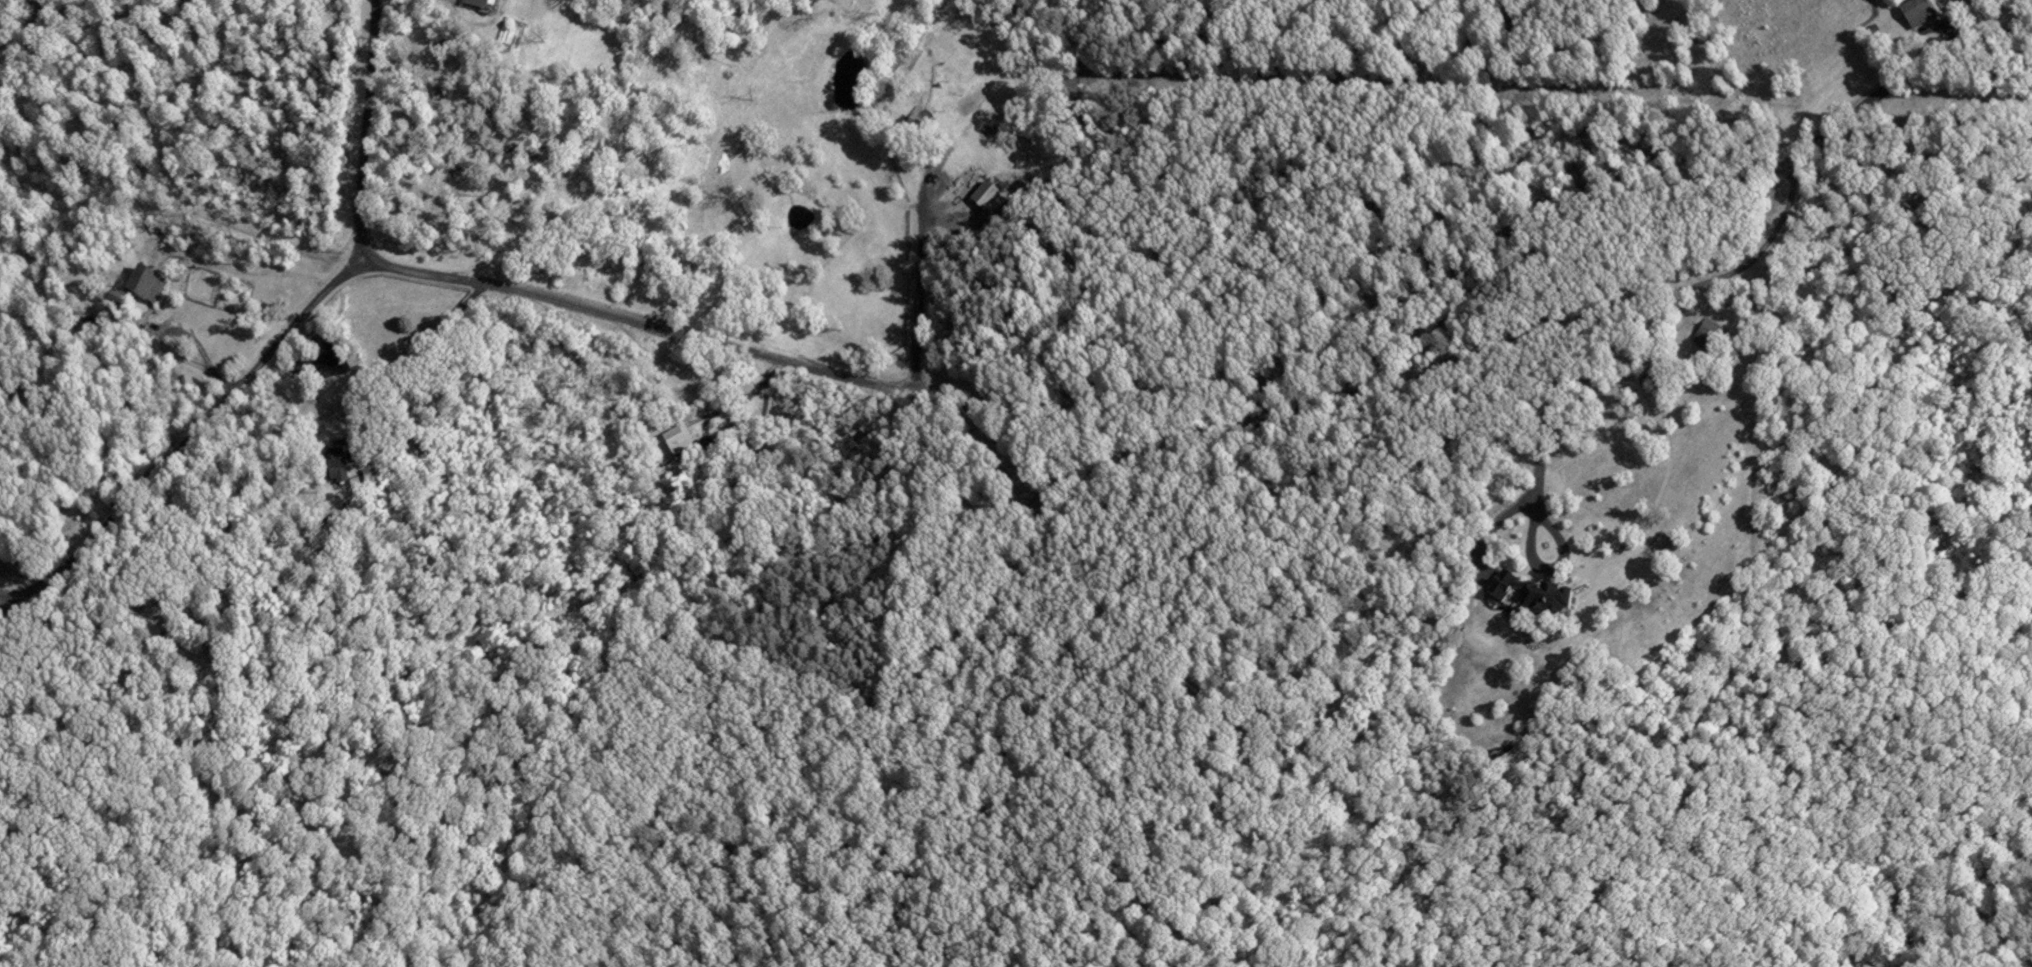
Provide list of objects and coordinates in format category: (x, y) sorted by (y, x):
building: (483, 4)
building: (1920, 11)
road: (105, 147)
road: (841, 174)
building: (985, 196)
building: (149, 286)
building: (119, 307)
road: (1048, 409)
building: (680, 440)
building: (343, 473)
building: (1530, 595)

